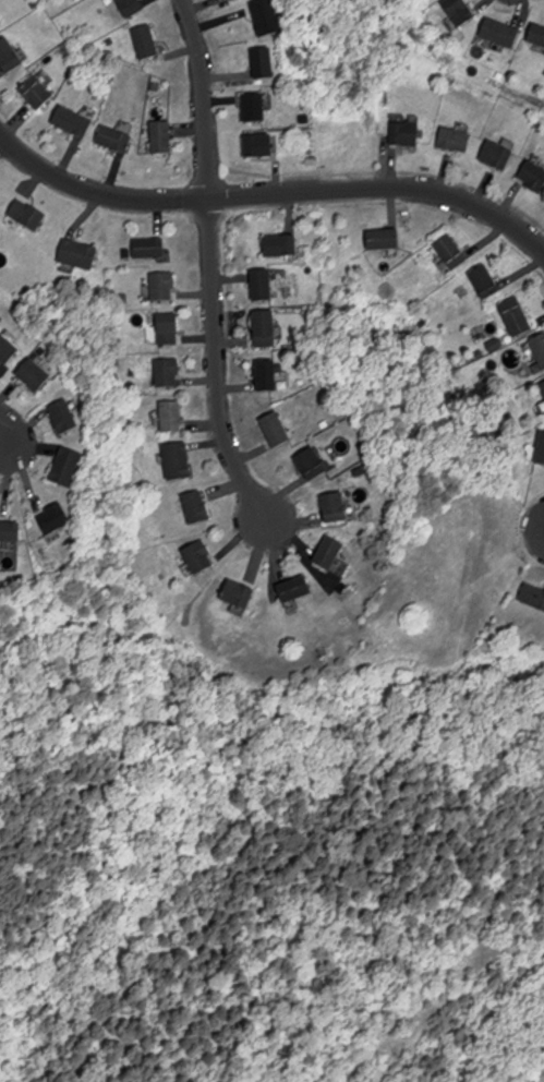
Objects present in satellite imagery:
building: (233, 0)
building: (234, 0)
building: (131, 7)
building: (460, 11)
building: (267, 16)
building: (501, 33)
building: (537, 35)
building: (147, 41)
building: (10, 56)
building: (264, 62)
building: (37, 92)
road: (204, 96)
building: (255, 107)
building: (73, 121)
building: (407, 134)
building: (162, 137)
building: (116, 140)
building: (456, 140)
building: (258, 146)
building: (498, 155)
building: (534, 177)
road: (270, 192)
building: (28, 215)
building: (0, 226)
building: (385, 239)
building: (282, 247)
building: (149, 248)
building: (452, 252)
building: (78, 254)
building: (486, 282)
building: (162, 286)
building: (262, 286)
building: (517, 316)
building: (169, 329)
building: (266, 329)
building: (540, 348)
building: (8, 349)
road: (215, 362)
building: (168, 370)
building: (35, 374)
building: (268, 375)
building: (542, 387)
building: (63, 416)
building: (171, 416)
building: (277, 429)
road: (4, 430)
building: (541, 449)
building: (180, 461)
building: (313, 465)
building: (67, 467)
building: (197, 507)
building: (336, 508)
building: (56, 517)
building: (10, 531)
building: (330, 553)
building: (200, 557)
building: (295, 589)
building: (240, 594)
building: (534, 596)

